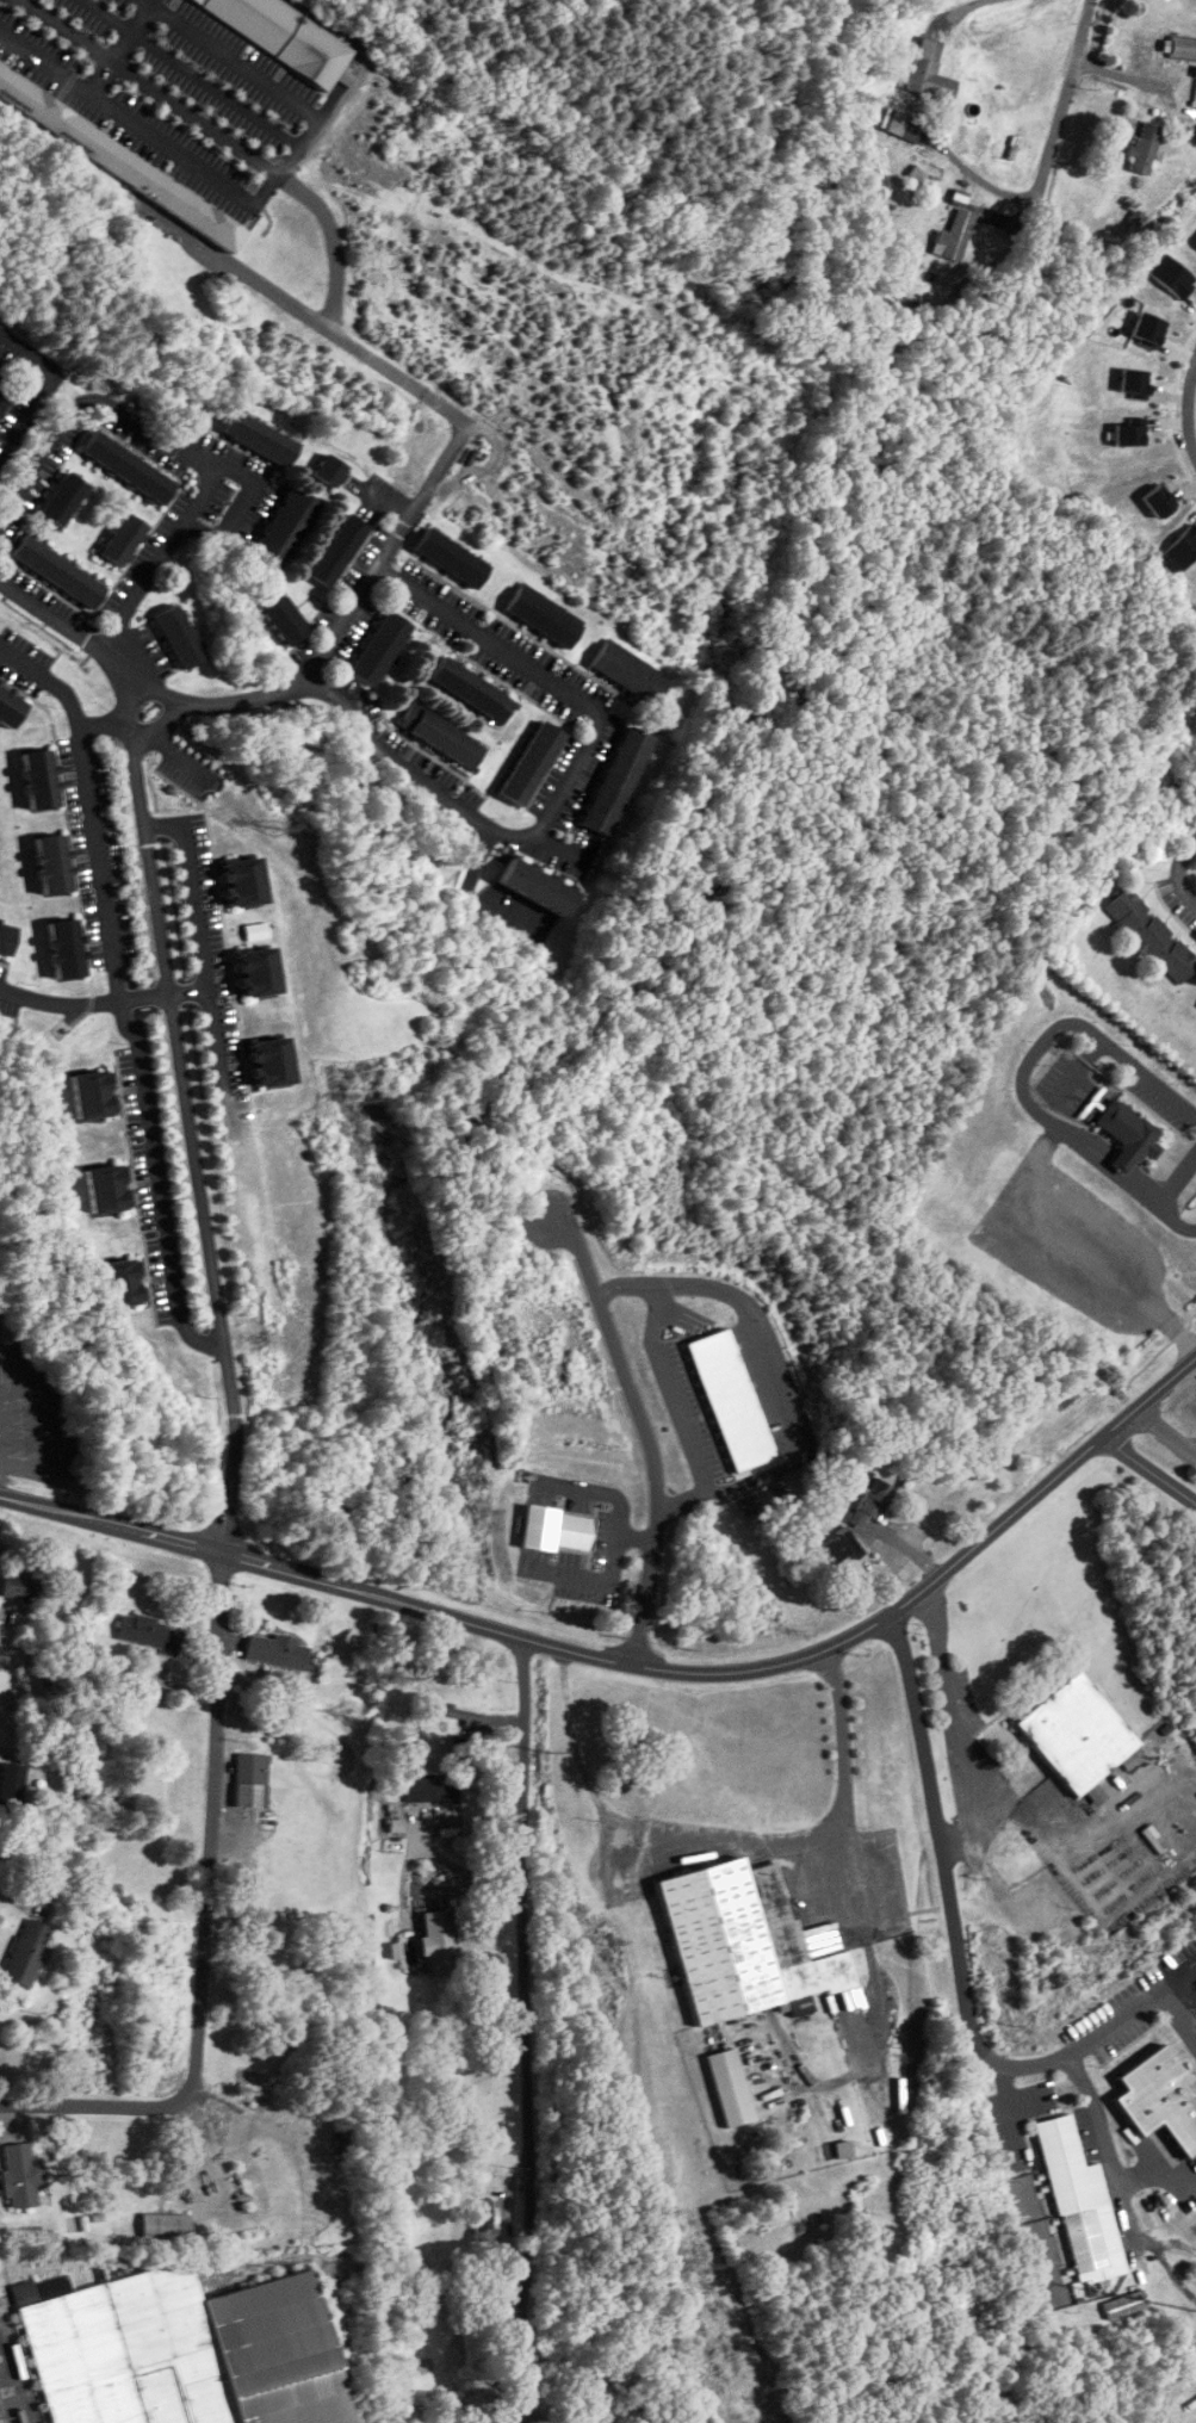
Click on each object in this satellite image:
road: (985, 7)
road: (132, 29)
building: (290, 32)
building: (1182, 48)
road: (193, 72)
building: (929, 72)
road: (100, 74)
road: (264, 75)
building: (1194, 97)
road: (1060, 111)
road: (142, 128)
building: (911, 132)
building: (1146, 148)
building: (1015, 151)
building: (122, 160)
building: (1192, 165)
building: (917, 174)
road: (323, 210)
building: (956, 235)
road: (269, 289)
building: (1, 367)
road: (37, 396)
building: (2, 398)
road: (1183, 407)
road: (122, 425)
building: (261, 438)
building: (129, 466)
building: (331, 470)
building: (64, 497)
building: (286, 527)
building: (124, 539)
building: (339, 550)
building: (452, 558)
road: (154, 565)
building: (58, 571)
building: (285, 618)
building: (544, 618)
road: (62, 632)
building: (180, 637)
building: (380, 649)
road: (314, 668)
building: (630, 673)
building: (473, 689)
building: (11, 706)
road: (106, 723)
building: (444, 736)
building: (533, 763)
building: (41, 780)
building: (619, 780)
road: (569, 782)
road: (93, 807)
power tower: (277, 824)
road: (558, 847)
road: (479, 857)
building: (54, 865)
road: (1159, 865)
building: (247, 882)
building: (538, 886)
road: (192, 906)
building: (1149, 936)
building: (6, 937)
building: (67, 949)
building: (260, 972)
road: (51, 999)
road: (136, 1003)
road: (1029, 1055)
building: (274, 1062)
building: (92, 1095)
power tower: (355, 1096)
road: (187, 1114)
building: (1129, 1135)
road: (1175, 1178)
road: (156, 1188)
building: (106, 1189)
road: (1169, 1217)
road: (1191, 1228)
building: (120, 1283)
road: (776, 1375)
road: (669, 1390)
building: (733, 1400)
road: (645, 1426)
road: (1164, 1434)
road: (1148, 1469)
building: (875, 1498)
power tower: (482, 1512)
building: (558, 1530)
building: (839, 1548)
road: (261, 1562)
building: (20, 1585)
road: (898, 1612)
building: (150, 1634)
building: (275, 1652)
road: (950, 1728)
building: (1078, 1734)
building: (252, 1780)
building: (12, 1786)
building: (432, 1786)
road: (1022, 1816)
road: (1126, 1816)
road: (843, 1823)
road: (209, 1824)
road: (1002, 1895)
road: (17, 1896)
road: (1121, 1907)
building: (439, 1941)
power tower: (603, 1942)
building: (746, 1942)
road: (966, 1942)
building: (27, 1953)
road: (1177, 2014)
road: (525, 2031)
building: (730, 2087)
building: (1160, 2097)
road: (94, 2105)
road: (256, 2114)
building: (346, 2144)
building: (844, 2149)
road: (1107, 2155)
building: (21, 2174)
building: (1082, 2204)
building: (483, 2219)
building: (165, 2225)
power tower: (701, 2264)
building: (185, 2350)
road: (565, 2380)
road: (12, 2385)
road: (533, 2409)
building: (608, 2409)

